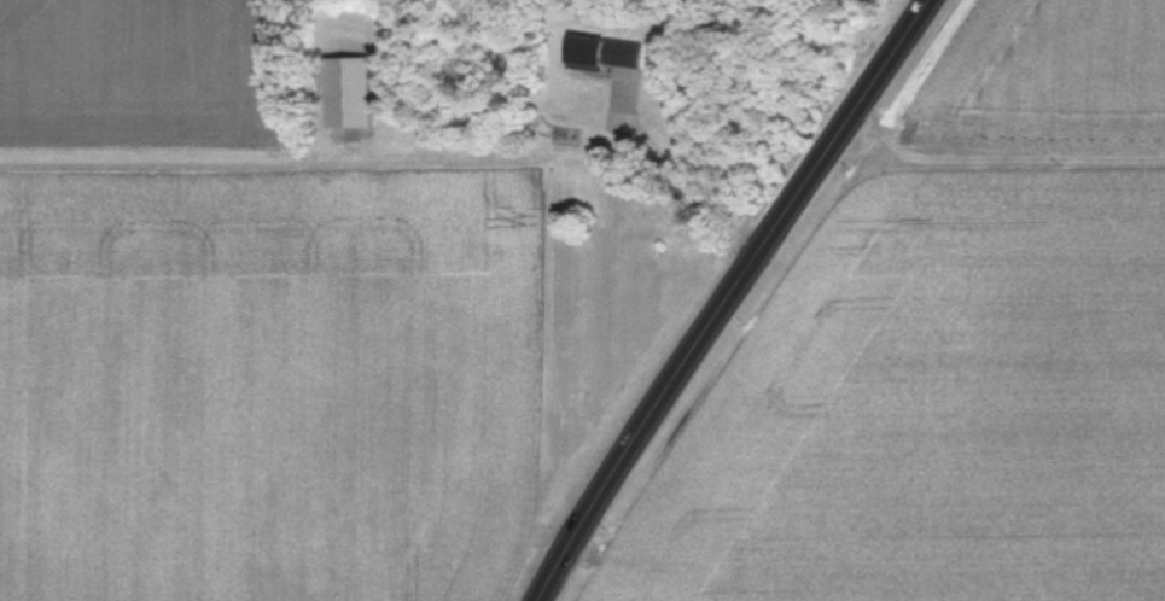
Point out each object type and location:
road: (686, 183)
road: (740, 297)
crop: (245, 331)

